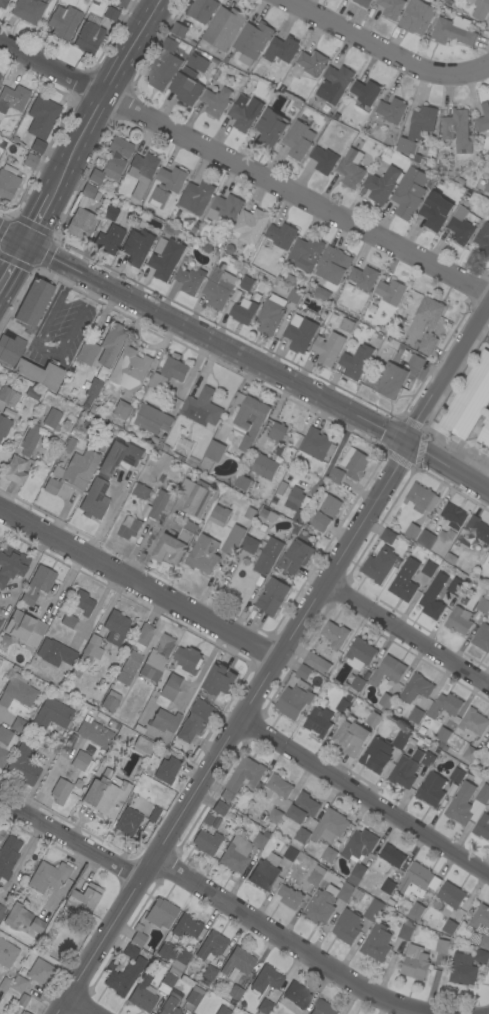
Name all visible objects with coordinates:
building: (120, 2)
building: (3, 3)
building: (363, 3)
building: (391, 8)
building: (480, 9)
building: (28, 10)
building: (203, 10)
building: (110, 13)
building: (417, 17)
building: (64, 21)
building: (224, 27)
building: (179, 29)
building: (454, 31)
building: (88, 37)
building: (252, 41)
building: (282, 49)
road: (383, 52)
building: (198, 63)
building: (312, 63)
building: (164, 65)
building: (0, 76)
building: (335, 84)
building: (187, 87)
building: (366, 92)
road: (100, 95)
building: (13, 98)
building: (216, 101)
building: (392, 110)
building: (245, 112)
building: (42, 116)
building: (483, 119)
building: (271, 128)
building: (457, 130)
building: (418, 131)
building: (14, 139)
building: (299, 140)
building: (37, 146)
building: (117, 156)
building: (324, 160)
building: (30, 161)
road: (244, 167)
building: (352, 169)
building: (142, 173)
building: (95, 176)
building: (8, 182)
building: (382, 185)
building: (167, 186)
building: (487, 187)
building: (88, 190)
building: (410, 193)
building: (196, 197)
building: (225, 208)
building: (436, 211)
building: (110, 213)
road: (36, 217)
building: (80, 223)
building: (251, 225)
building: (461, 227)
building: (282, 235)
building: (109, 239)
building: (483, 239)
building: (137, 247)
building: (306, 254)
building: (166, 258)
road: (11, 262)
building: (333, 265)
road: (68, 277)
building: (364, 278)
building: (190, 280)
building: (247, 284)
building: (219, 290)
road: (92, 292)
building: (391, 292)
building: (322, 294)
building: (294, 296)
building: (33, 303)
building: (430, 311)
building: (244, 312)
building: (271, 315)
building: (347, 325)
building: (300, 335)
building: (113, 337)
building: (426, 344)
road: (43, 348)
building: (328, 348)
building: (10, 349)
building: (87, 352)
road: (246, 357)
building: (413, 359)
building: (356, 361)
road: (228, 367)
building: (129, 368)
road: (445, 368)
building: (174, 369)
building: (40, 373)
building: (391, 380)
building: (158, 382)
building: (93, 389)
building: (32, 393)
building: (8, 395)
building: (78, 401)
building: (471, 403)
building: (92, 408)
building: (202, 408)
building: (121, 410)
building: (153, 420)
building: (251, 420)
building: (50, 422)
building: (4, 426)
building: (278, 432)
building: (29, 439)
building: (68, 444)
building: (317, 445)
building: (215, 450)
building: (119, 457)
building: (357, 465)
building: (264, 467)
building: (15, 470)
building: (56, 471)
building: (75, 472)
building: (336, 476)
building: (242, 482)
building: (270, 489)
building: (141, 492)
building: (196, 497)
building: (421, 498)
building: (94, 499)
building: (156, 504)
building: (296, 504)
building: (326, 511)
building: (249, 513)
building: (219, 515)
building: (267, 516)
road: (106, 517)
building: (191, 526)
building: (456, 526)
building: (129, 527)
building: (413, 531)
building: (476, 534)
building: (388, 536)
building: (233, 540)
building: (249, 544)
building: (173, 547)
building: (204, 554)
building: (269, 556)
building: (296, 557)
building: (450, 558)
building: (438, 560)
building: (11, 564)
building: (379, 564)
building: (429, 569)
building: (437, 579)
building: (405, 580)
building: (37, 584)
road: (137, 584)
building: (456, 588)
building: (273, 596)
building: (462, 600)
building: (83, 602)
building: (483, 605)
building: (431, 607)
building: (68, 620)
building: (1, 621)
building: (459, 621)
building: (25, 628)
road: (407, 632)
building: (107, 633)
building: (144, 634)
building: (335, 634)
road: (152, 637)
building: (482, 638)
road: (307, 639)
building: (56, 653)
building: (361, 654)
building: (157, 658)
building: (188, 659)
building: (317, 662)
building: (129, 667)
building: (388, 671)
building: (77, 672)
building: (303, 672)
building: (219, 679)
building: (358, 684)
building: (171, 686)
building: (416, 688)
building: (17, 691)
building: (295, 700)
building: (110, 701)
building: (386, 701)
building: (344, 705)
building: (444, 706)
building: (52, 714)
building: (416, 715)
building: (374, 720)
building: (164, 721)
building: (196, 721)
building: (319, 721)
building: (474, 722)
building: (18, 725)
building: (389, 725)
road: (234, 728)
building: (95, 733)
building: (443, 734)
building: (352, 736)
building: (401, 739)
building: (69, 742)
building: (487, 743)
building: (6, 745)
building: (143, 745)
building: (441, 745)
building: (436, 751)
building: (470, 754)
building: (377, 755)
building: (80, 762)
building: (23, 764)
building: (410, 767)
building: (167, 770)
building: (457, 775)
building: (242, 778)
building: (279, 786)
building: (451, 788)
building: (432, 789)
building: (60, 791)
building: (105, 794)
road: (364, 795)
building: (483, 795)
building: (461, 804)
building: (219, 808)
building: (303, 808)
building: (154, 813)
building: (275, 815)
building: (207, 819)
building: (127, 822)
building: (330, 826)
building: (482, 826)
building: (302, 835)
road: (70, 838)
building: (260, 841)
building: (206, 842)
building: (290, 852)
building: (236, 853)
building: (359, 853)
building: (329, 855)
building: (8, 856)
building: (393, 856)
building: (265, 872)
building: (317, 875)
building: (48, 876)
building: (418, 880)
building: (391, 883)
building: (345, 892)
building: (451, 895)
building: (290, 897)
building: (83, 899)
building: (426, 900)
building: (320, 907)
building: (1, 909)
building: (374, 910)
building: (416, 912)
building: (160, 913)
building: (17, 916)
building: (37, 925)
building: (186, 926)
building: (348, 926)
building: (450, 926)
building: (480, 927)
building: (406, 930)
road: (282, 938)
building: (134, 942)
building: (378, 942)
building: (211, 946)
building: (443, 946)
building: (165, 951)
building: (7, 953)
building: (482, 956)
building: (180, 960)
building: (440, 960)
building: (238, 961)
building: (416, 963)
building: (463, 970)
building: (40, 971)
building: (208, 974)
building: (123, 975)
building: (170, 977)
building: (266, 979)
building: (5, 981)
building: (18, 983)
building: (163, 991)
building: (235, 992)
building: (175, 993)
building: (143, 994)
building: (195, 994)
building: (297, 995)
building: (23, 1000)
road: (79, 1005)
building: (169, 1006)
building: (265, 1006)
building: (323, 1008)
building: (223, 1010)
building: (24, 1012)

